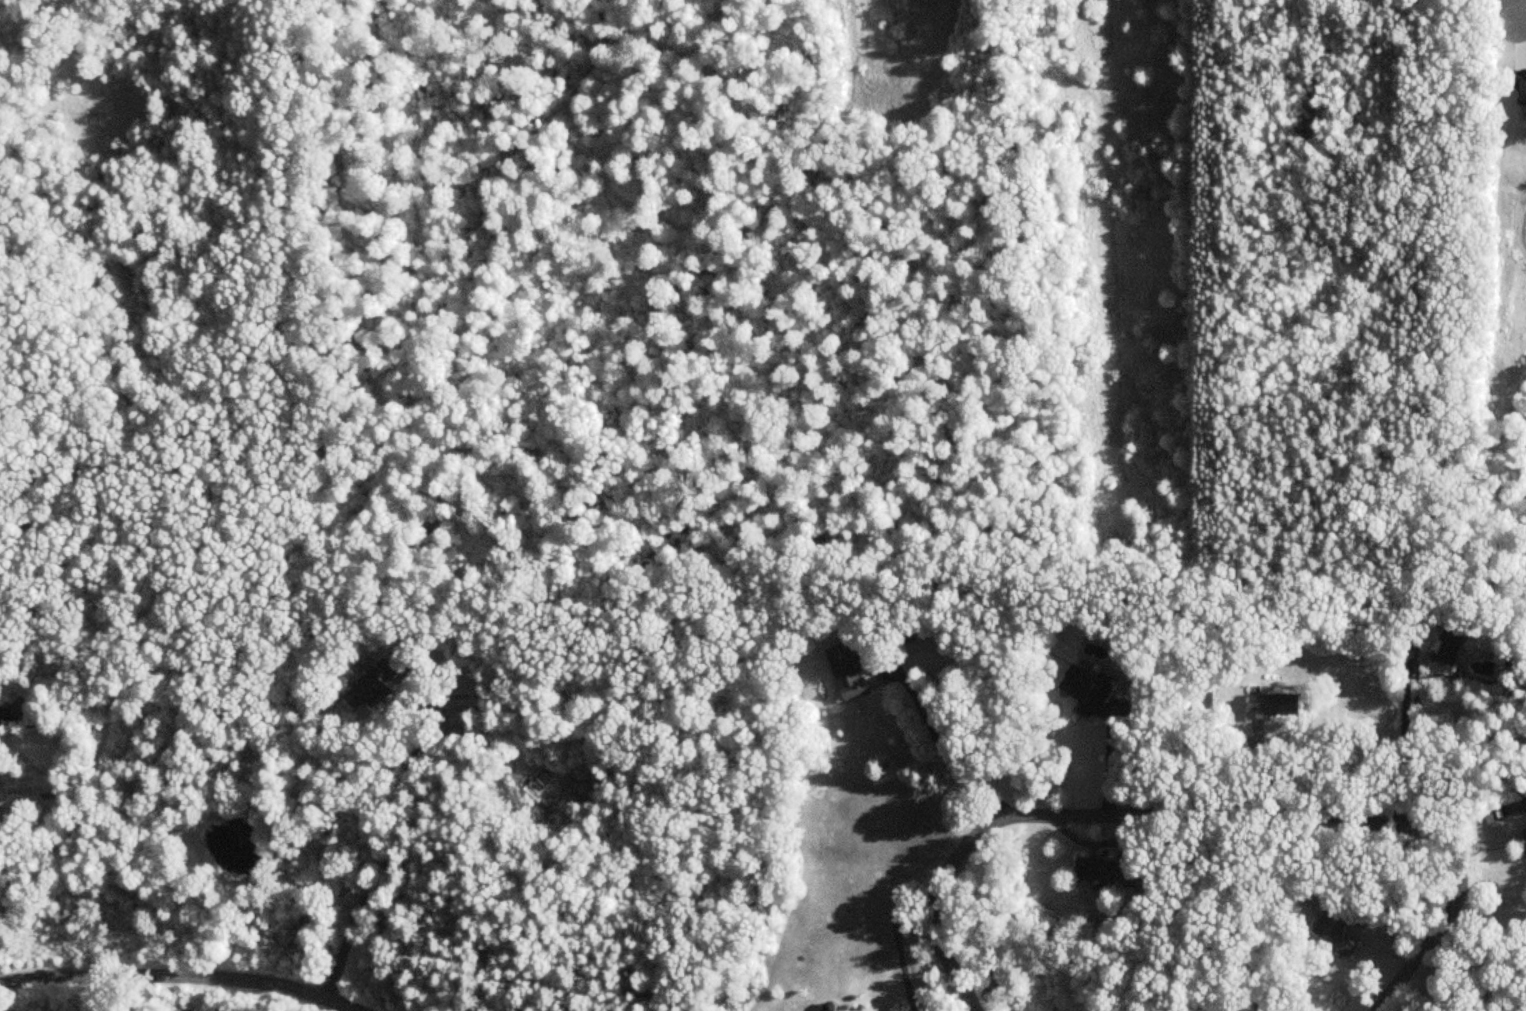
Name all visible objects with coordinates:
road: (1525, 14)
building: (1445, 648)
building: (845, 673)
building: (372, 685)
building: (1085, 689)
building: (1271, 705)
road: (1404, 739)
road: (940, 750)
road: (1113, 763)
road: (1209, 818)
building: (1523, 836)
road: (390, 855)
building: (1100, 870)
building: (1334, 926)
road: (895, 930)
road: (1481, 956)
road: (178, 978)

